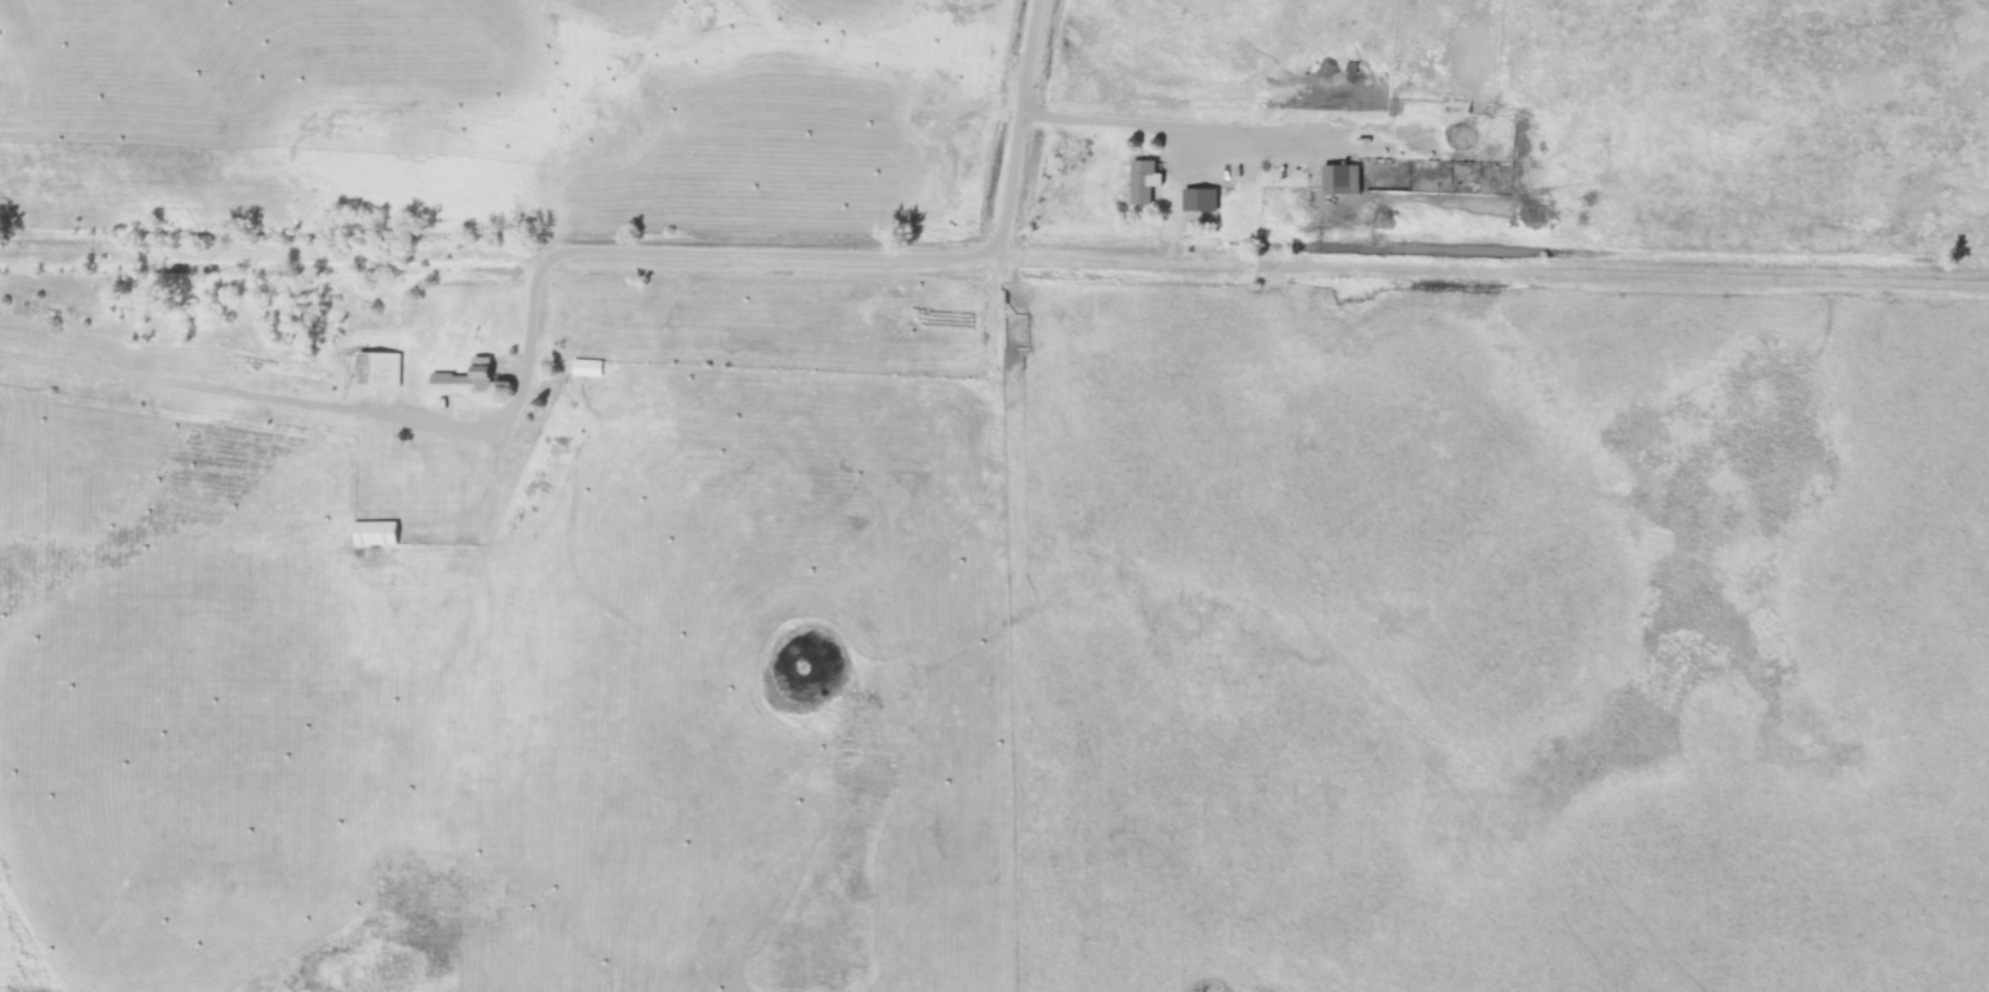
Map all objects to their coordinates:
road: (1020, 128)
road: (1177, 131)
building: (1341, 180)
building: (1145, 183)
building: (1201, 200)
road: (652, 254)
building: (587, 368)
building: (379, 371)
building: (465, 381)
building: (375, 534)

